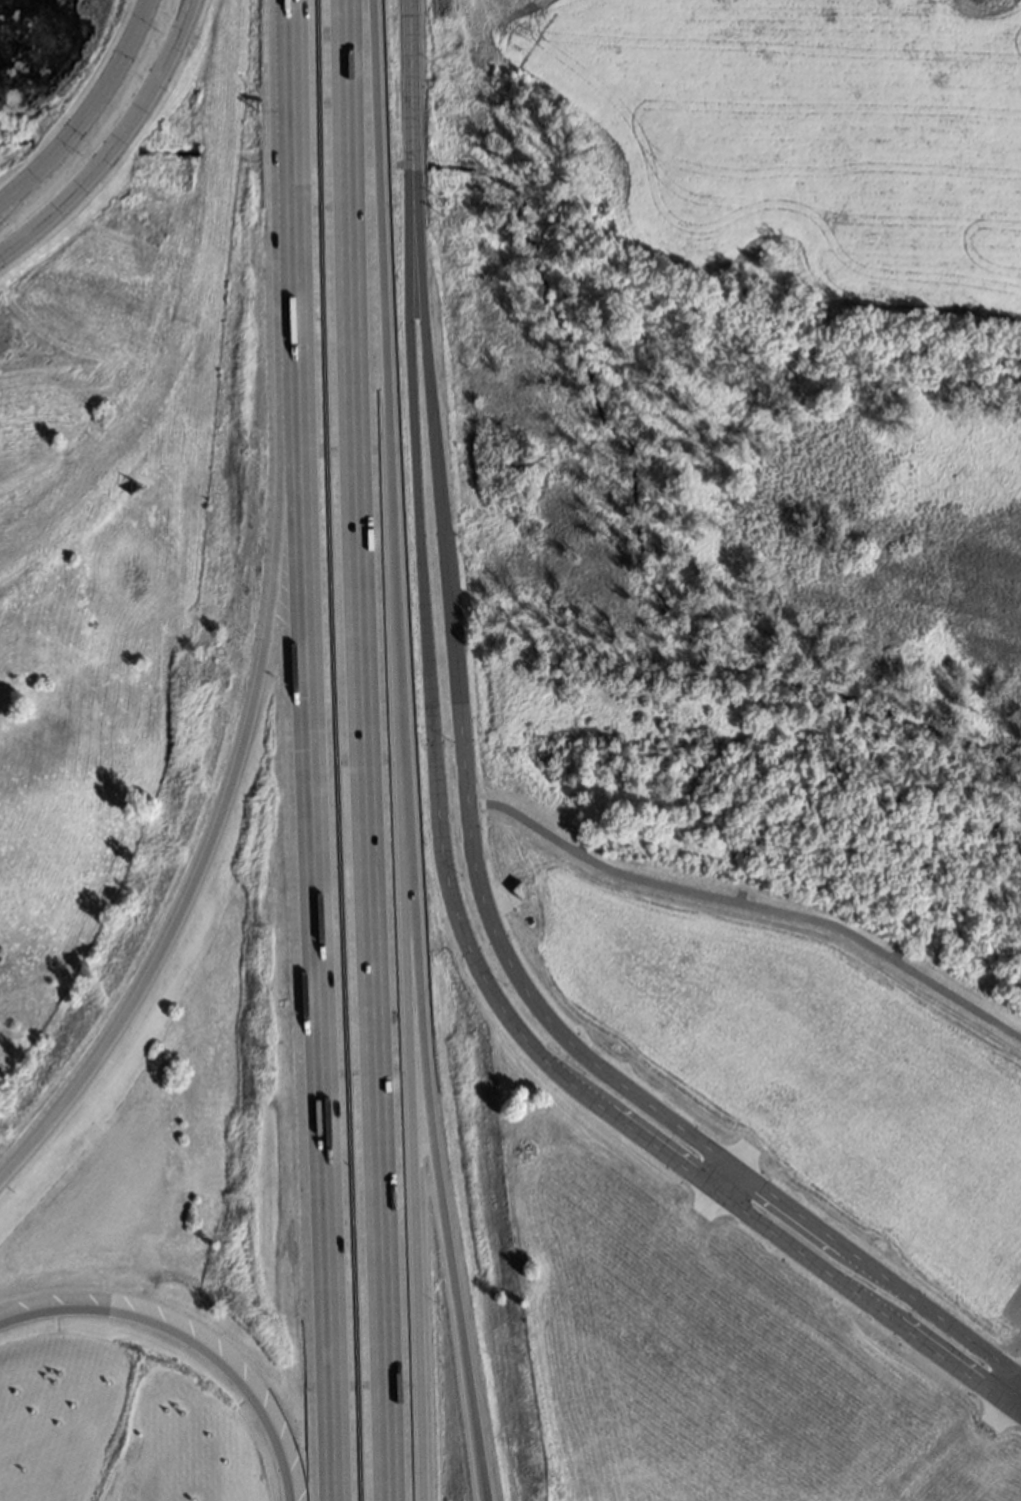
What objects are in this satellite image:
road: (188, 13)
road: (416, 84)
road: (365, 88)
road: (93, 103)
road: (107, 154)
road: (289, 156)
crop: (748, 161)
road: (8, 199)
road: (228, 775)
road: (375, 838)
road: (400, 838)
road: (489, 894)
road: (310, 906)
road: (465, 921)
road: (420, 1031)
road: (725, 1181)
road: (187, 1342)
road: (1005, 1401)

